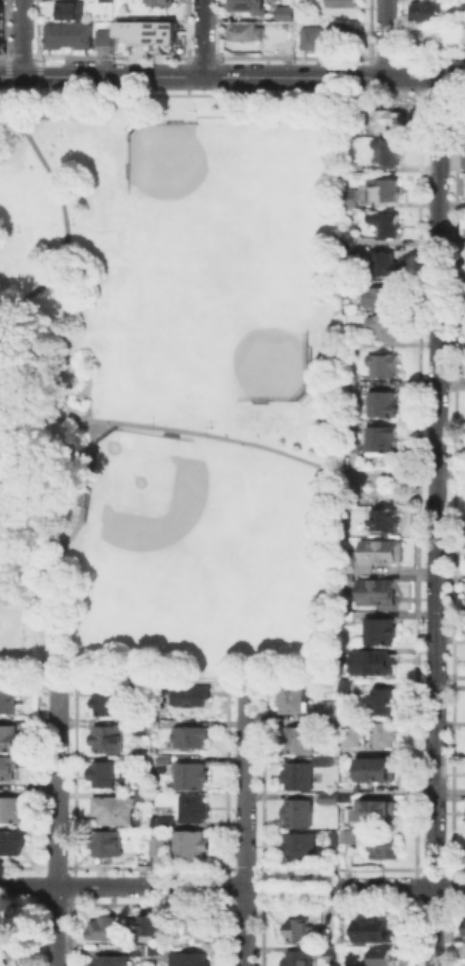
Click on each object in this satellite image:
building: (103, 0)
building: (159, 2)
building: (244, 4)
building: (341, 4)
building: (67, 10)
building: (424, 11)
building: (283, 13)
building: (0, 27)
building: (146, 28)
building: (344, 29)
building: (244, 31)
building: (309, 33)
building: (65, 34)
building: (101, 35)
road: (19, 37)
road: (203, 37)
road: (384, 37)
building: (464, 39)
road: (101, 75)
road: (319, 75)
road: (450, 77)
road: (8, 117)
building: (382, 122)
building: (386, 150)
park: (163, 157)
building: (351, 164)
building: (380, 187)
building: (350, 196)
road: (62, 205)
building: (383, 222)
building: (347, 236)
building: (347, 247)
building: (381, 261)
building: (380, 294)
building: (381, 324)
park: (271, 361)
building: (381, 362)
building: (348, 378)
park: (169, 387)
building: (348, 387)
building: (380, 402)
road: (173, 428)
fountain: (226, 434)
building: (377, 436)
building: (349, 443)
road: (403, 473)
park: (377, 479)
park: (460, 479)
road: (435, 482)
park: (151, 498)
building: (386, 521)
road: (31, 524)
road: (29, 549)
road: (58, 552)
building: (384, 552)
building: (351, 565)
building: (378, 594)
building: (382, 633)
building: (375, 664)
building: (350, 688)
building: (136, 690)
building: (191, 696)
building: (297, 699)
building: (9, 700)
building: (109, 703)
building: (385, 705)
building: (329, 710)
building: (144, 730)
building: (350, 732)
building: (376, 736)
building: (190, 738)
building: (9, 740)
building: (109, 741)
building: (301, 742)
building: (138, 760)
building: (166, 762)
building: (9, 770)
building: (378, 771)
building: (304, 774)
building: (102, 775)
building: (192, 777)
building: (351, 798)
building: (330, 799)
building: (119, 810)
building: (12, 811)
building: (195, 811)
building: (377, 813)
building: (299, 815)
building: (163, 824)
road: (244, 824)
road: (53, 828)
building: (350, 837)
building: (332, 840)
building: (106, 844)
building: (13, 845)
building: (159, 847)
building: (191, 847)
building: (300, 847)
building: (385, 848)
road: (217, 885)
road: (449, 887)
building: (464, 924)
building: (153, 926)
building: (202, 926)
road: (433, 926)
building: (106, 929)
building: (300, 931)
building: (377, 933)
building: (333, 953)
building: (384, 958)
building: (196, 959)
building: (300, 960)
building: (112, 962)

